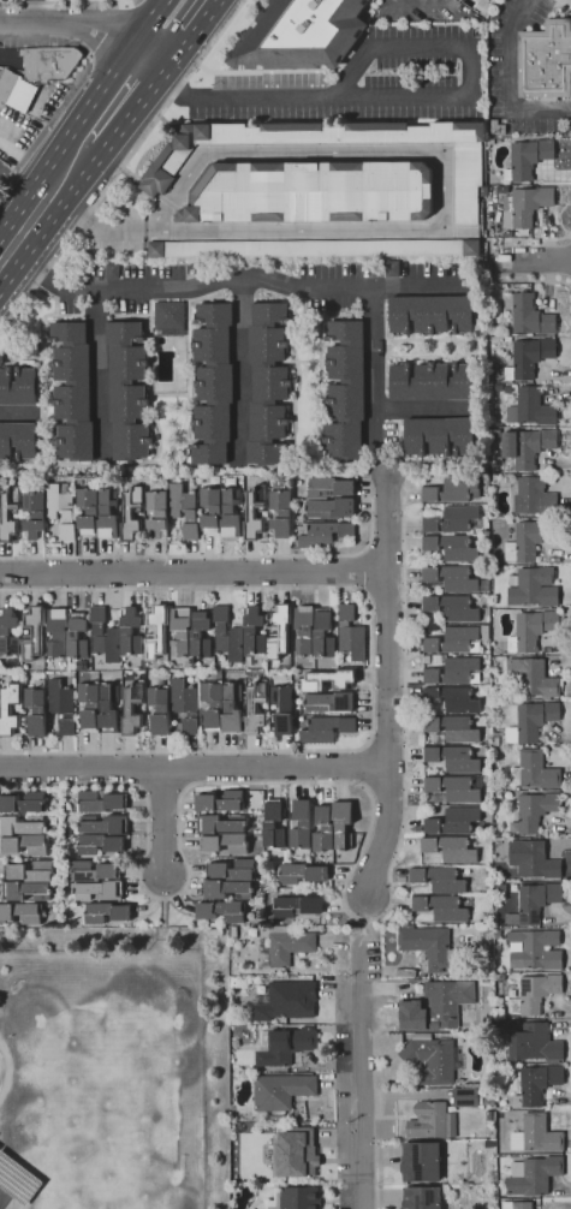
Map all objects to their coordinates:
parking lot: (22, 0)
building: (483, 0)
road: (71, 1)
road: (34, 12)
road: (232, 14)
road: (196, 18)
road: (78, 28)
road: (150, 28)
parking lot: (35, 35)
building: (299, 35)
road: (414, 44)
road: (166, 48)
road: (201, 58)
building: (545, 60)
building: (49, 62)
road: (511, 79)
road: (168, 82)
building: (16, 91)
road: (66, 95)
road: (333, 97)
road: (567, 109)
road: (314, 153)
building: (527, 159)
road: (73, 161)
parking lot: (4, 169)
building: (161, 169)
road: (105, 189)
road: (20, 190)
building: (482, 191)
building: (313, 192)
building: (524, 206)
road: (91, 225)
road: (149, 231)
road: (299, 231)
road: (457, 231)
road: (8, 233)
road: (570, 236)
road: (519, 239)
building: (315, 248)
road: (494, 251)
road: (533, 263)
road: (570, 267)
building: (391, 268)
building: (111, 270)
road: (531, 281)
road: (418, 286)
road: (184, 287)
road: (14, 314)
building: (430, 314)
building: (528, 315)
building: (168, 318)
building: (529, 357)
road: (373, 364)
road: (237, 371)
road: (101, 377)
building: (430, 382)
building: (213, 383)
building: (267, 383)
building: (17, 387)
building: (72, 391)
building: (345, 391)
building: (126, 392)
road: (423, 409)
building: (530, 409)
road: (17, 412)
building: (494, 435)
building: (438, 436)
building: (17, 440)
building: (527, 446)
building: (328, 488)
road: (369, 488)
building: (451, 489)
road: (404, 496)
building: (533, 498)
building: (87, 508)
building: (209, 508)
building: (329, 508)
building: (60, 510)
building: (8, 512)
building: (280, 512)
building: (131, 513)
building: (156, 513)
building: (189, 513)
building: (230, 513)
building: (254, 513)
building: (34, 514)
building: (107, 514)
building: (453, 519)
road: (387, 523)
building: (323, 535)
building: (527, 541)
building: (450, 548)
road: (362, 553)
road: (214, 555)
road: (192, 572)
building: (454, 579)
building: (534, 588)
road: (365, 590)
road: (363, 591)
building: (451, 607)
building: (304, 627)
building: (484, 630)
building: (530, 630)
building: (155, 631)
building: (180, 631)
building: (252, 631)
building: (279, 631)
building: (32, 632)
building: (56, 632)
building: (112, 632)
building: (7, 633)
building: (130, 633)
building: (350, 633)
building: (77, 636)
building: (322, 636)
building: (200, 638)
building: (227, 638)
building: (452, 639)
road: (371, 668)
building: (452, 672)
building: (531, 678)
building: (328, 680)
building: (452, 698)
building: (331, 701)
building: (213, 702)
building: (88, 704)
building: (184, 704)
building: (61, 705)
building: (255, 707)
building: (35, 708)
building: (132, 708)
building: (231, 708)
building: (5, 709)
building: (107, 709)
building: (281, 709)
building: (159, 710)
building: (534, 720)
building: (452, 728)
building: (325, 729)
road: (388, 735)
building: (508, 735)
road: (385, 744)
building: (452, 758)
road: (357, 766)
road: (194, 767)
building: (534, 770)
road: (380, 785)
road: (162, 788)
building: (456, 788)
building: (100, 800)
road: (371, 800)
building: (220, 802)
building: (23, 803)
building: (535, 810)
road: (162, 821)
building: (454, 822)
building: (220, 823)
building: (103, 824)
building: (301, 824)
building: (341, 824)
building: (20, 826)
building: (272, 826)
building: (322, 829)
building: (225, 842)
building: (26, 844)
building: (99, 844)
building: (448, 848)
building: (533, 860)
building: (231, 870)
building: (93, 871)
building: (30, 872)
building: (301, 874)
building: (439, 880)
building: (224, 888)
building: (500, 888)
building: (99, 891)
building: (25, 892)
building: (534, 903)
building: (296, 906)
building: (441, 907)
building: (220, 911)
building: (20, 912)
building: (105, 912)
building: (487, 918)
road: (363, 919)
building: (214, 931)
building: (231, 931)
building: (496, 935)
building: (459, 939)
building: (427, 946)
building: (282, 947)
building: (534, 949)
building: (534, 994)
building: (285, 1001)
building: (435, 1005)
building: (534, 1043)
building: (282, 1047)
building: (432, 1059)
track: (5, 1068)
road: (362, 1074)
building: (536, 1084)
building: (280, 1091)
building: (469, 1097)
building: (489, 1115)
building: (275, 1119)
park: (106, 1120)
building: (430, 1121)
building: (536, 1136)
building: (488, 1143)
building: (296, 1153)
building: (420, 1162)
building: (533, 1175)
building: (17, 1179)
park: (2, 1195)
building: (421, 1197)
building: (295, 1198)
building: (516, 1205)

